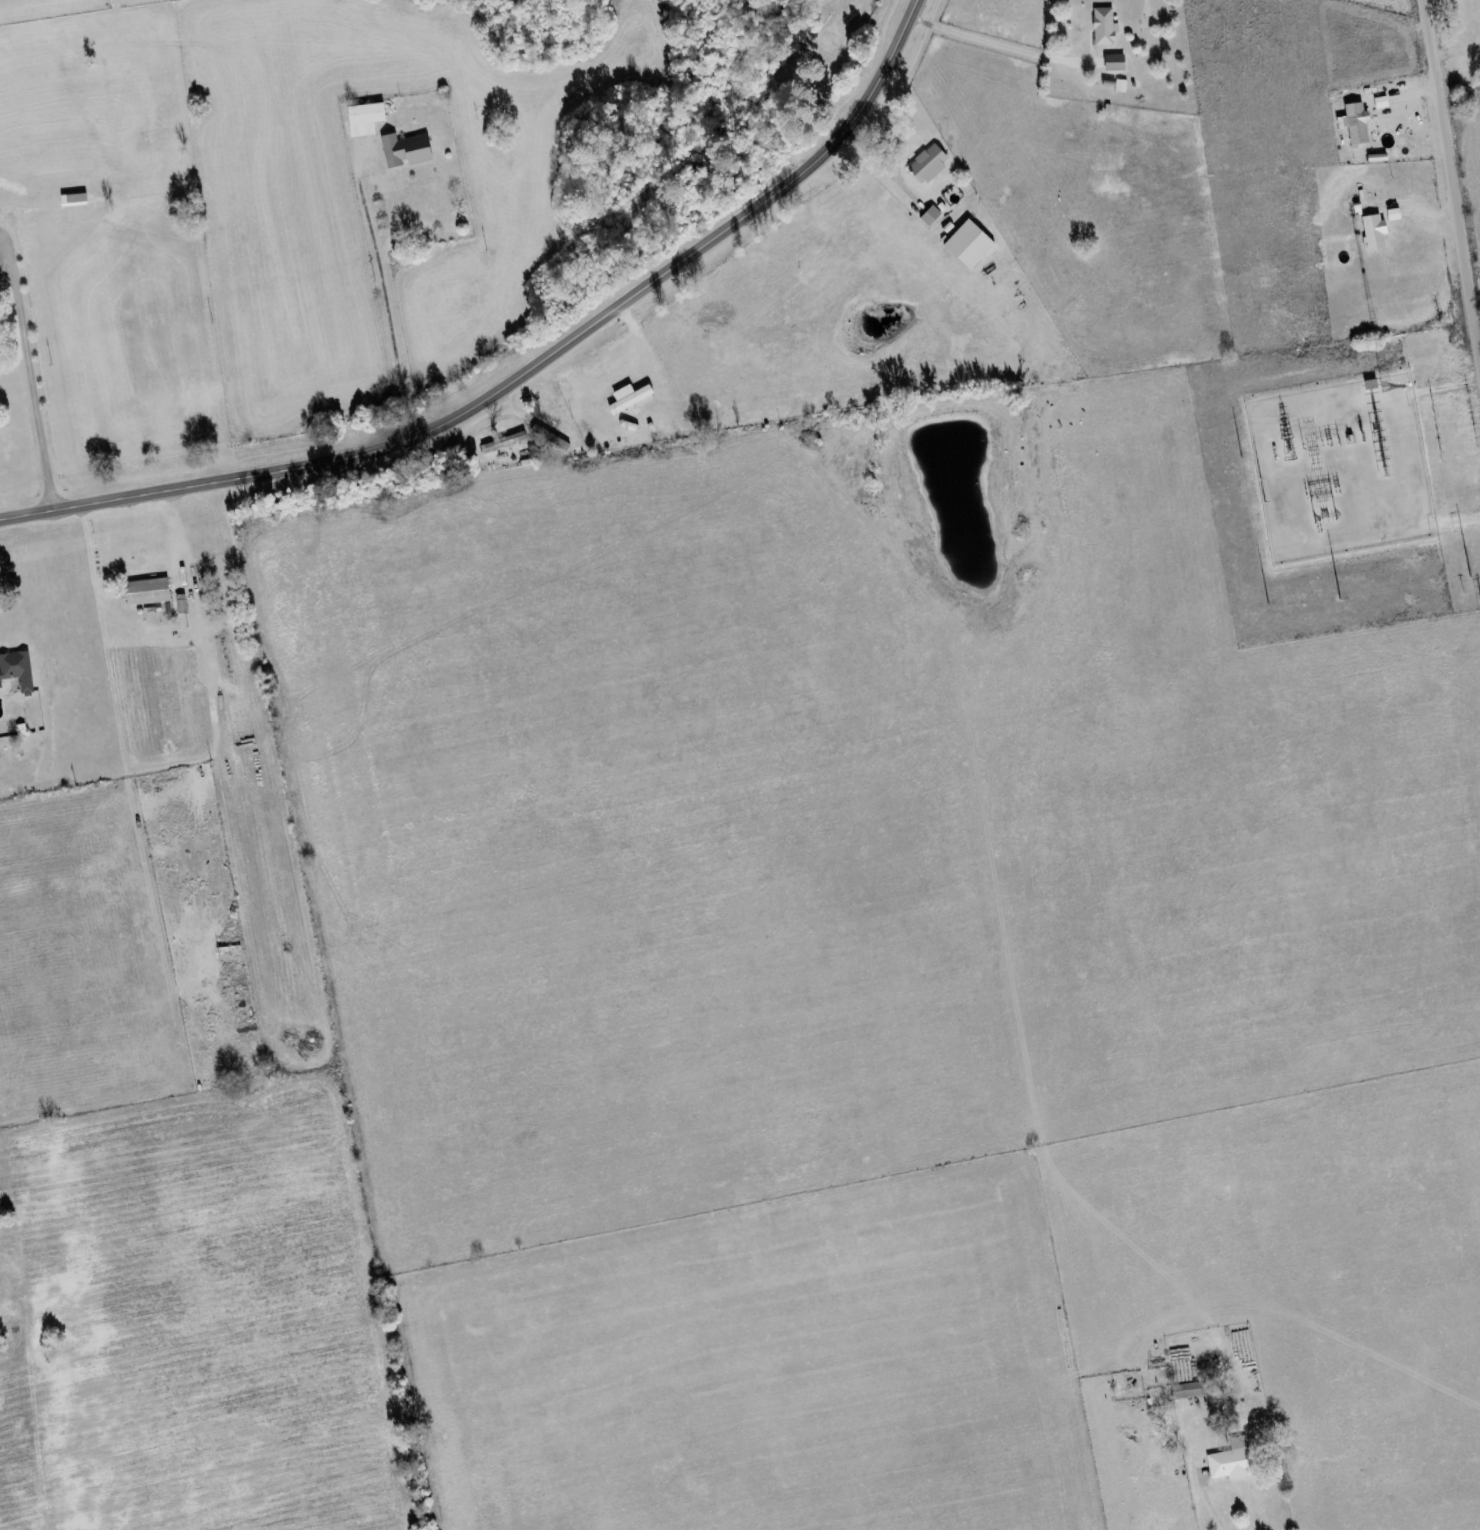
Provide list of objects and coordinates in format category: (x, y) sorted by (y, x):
building: (1102, 27)
building: (1112, 63)
building: (1119, 86)
building: (1379, 103)
building: (362, 119)
building: (1352, 124)
building: (404, 151)
road: (1452, 158)
building: (926, 164)
building: (72, 201)
building: (1391, 215)
building: (927, 217)
building: (1371, 233)
building: (966, 245)
road: (523, 372)
building: (627, 399)
power substation: (1337, 467)
building: (146, 592)
building: (16, 671)
building: (0, 689)
building: (1187, 1391)
building: (1232, 1461)

